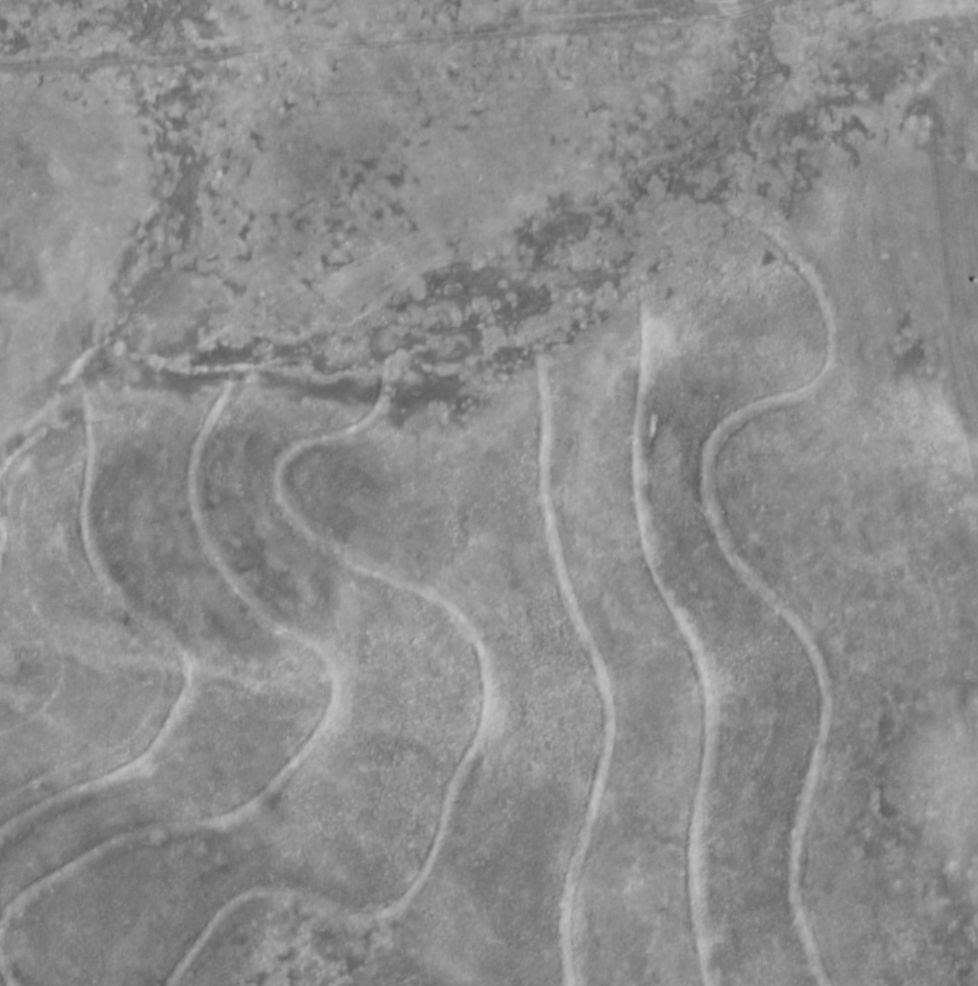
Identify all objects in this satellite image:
road: (382, 38)

